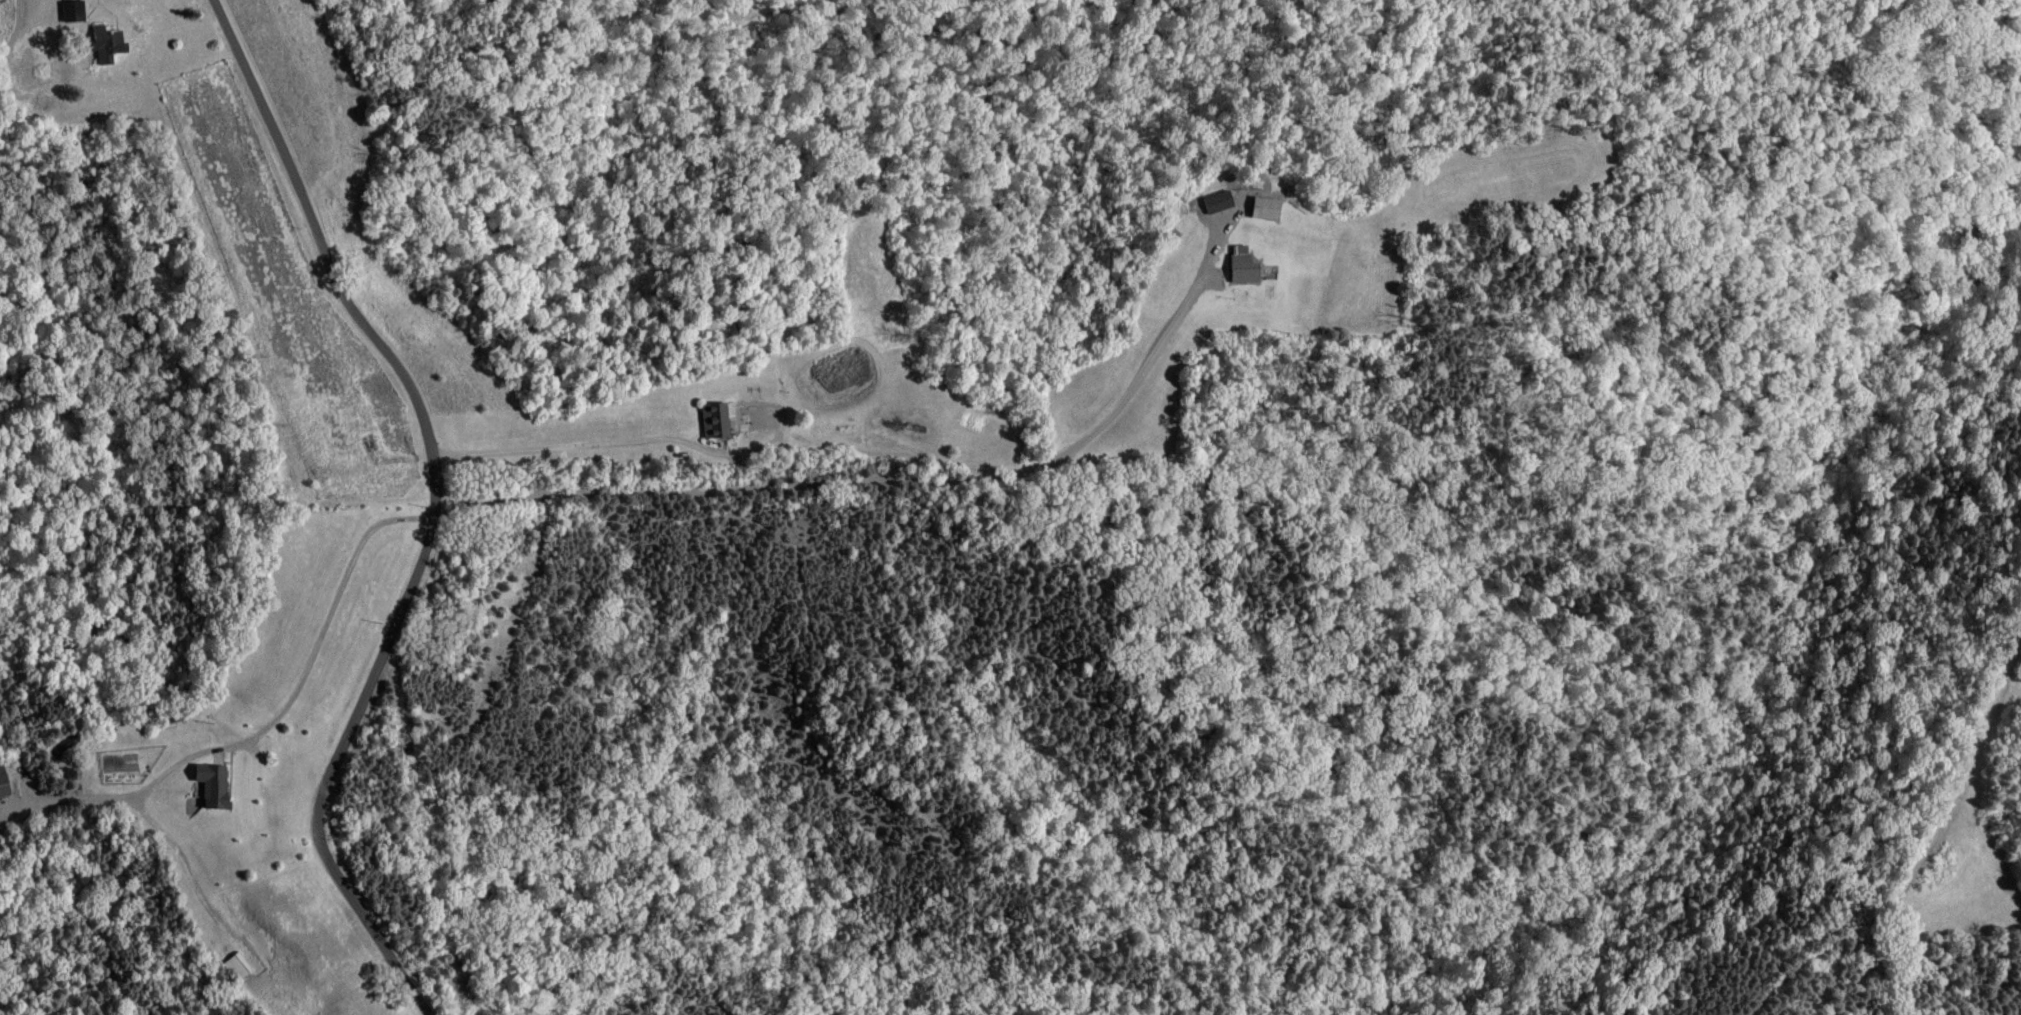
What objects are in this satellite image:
building: (73, 10)
building: (109, 44)
building: (1217, 202)
building: (1243, 267)
building: (716, 422)
road: (435, 510)
road: (874, 510)
road: (326, 641)
building: (237, 967)

